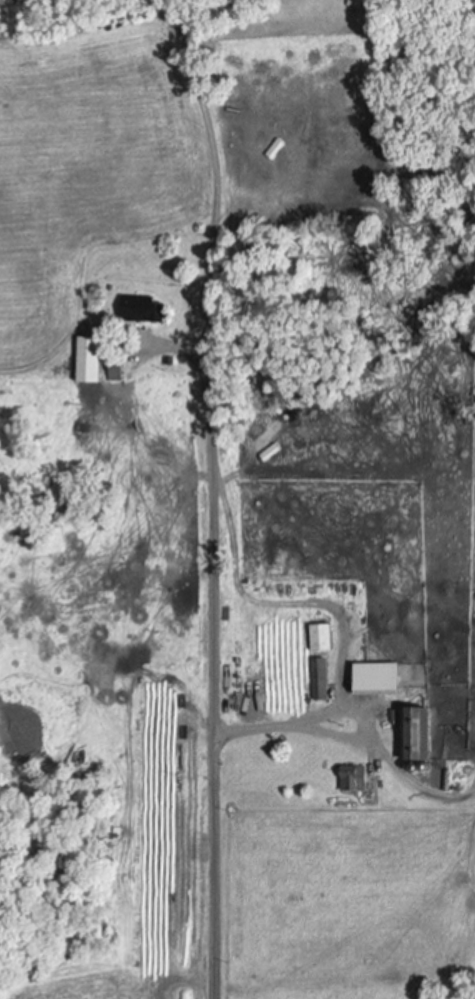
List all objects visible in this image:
building: (358, 4)
building: (142, 308)
building: (92, 358)
building: (117, 368)
road: (207, 517)
building: (322, 637)
building: (321, 679)
building: (381, 679)
road: (274, 725)
building: (420, 734)
building: (356, 779)

